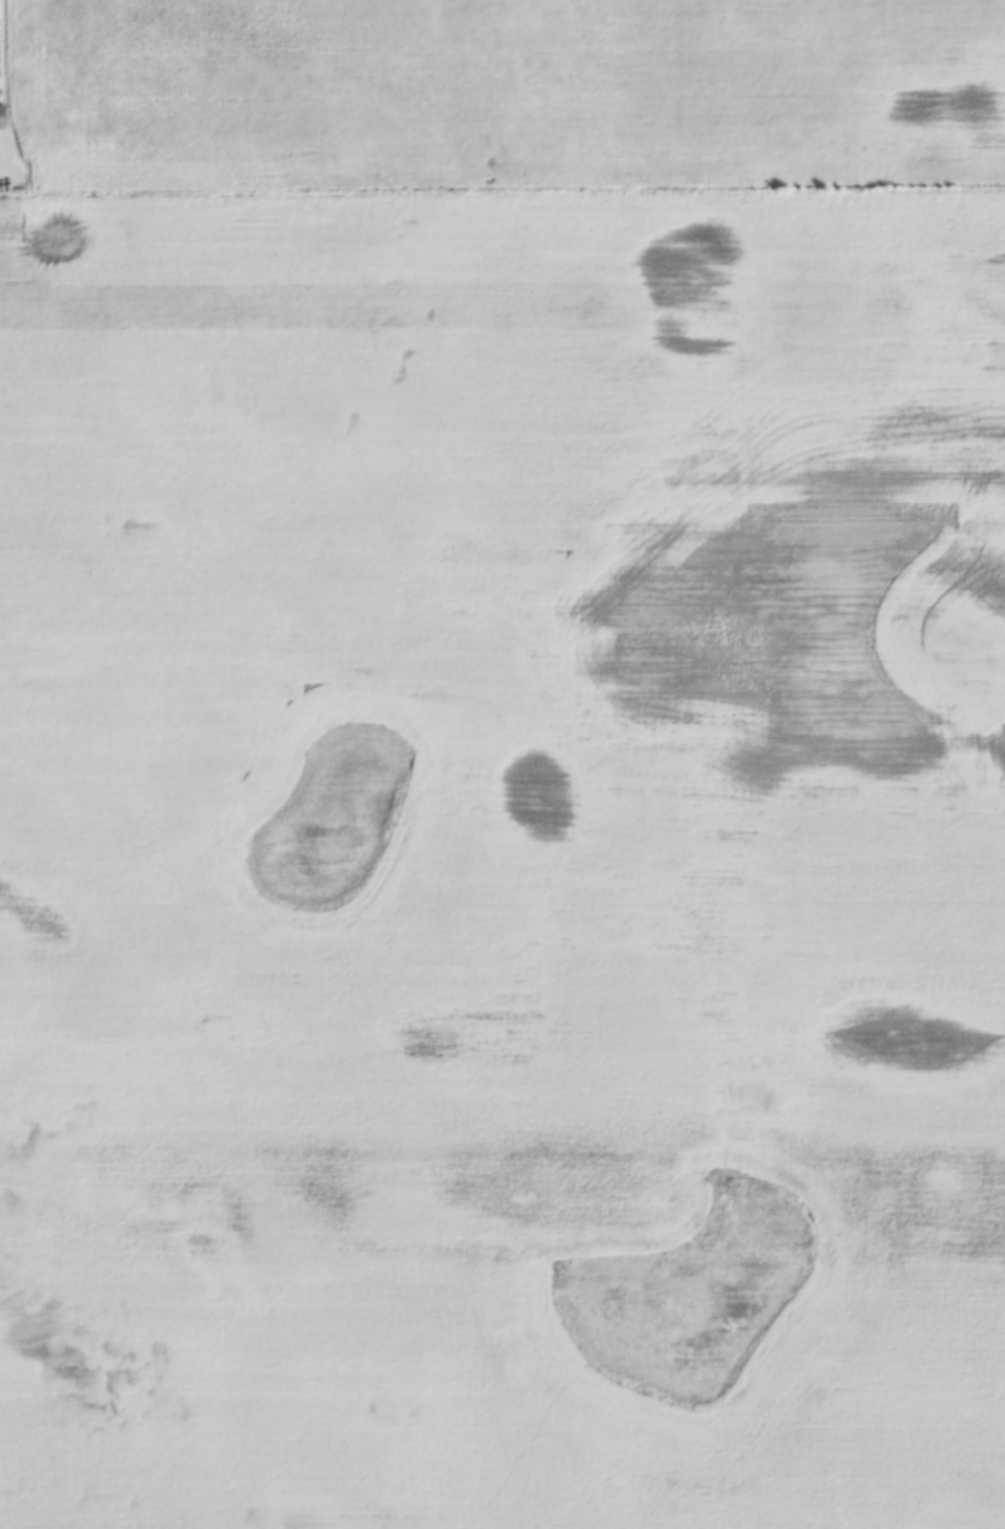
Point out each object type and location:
building: (2, 116)

